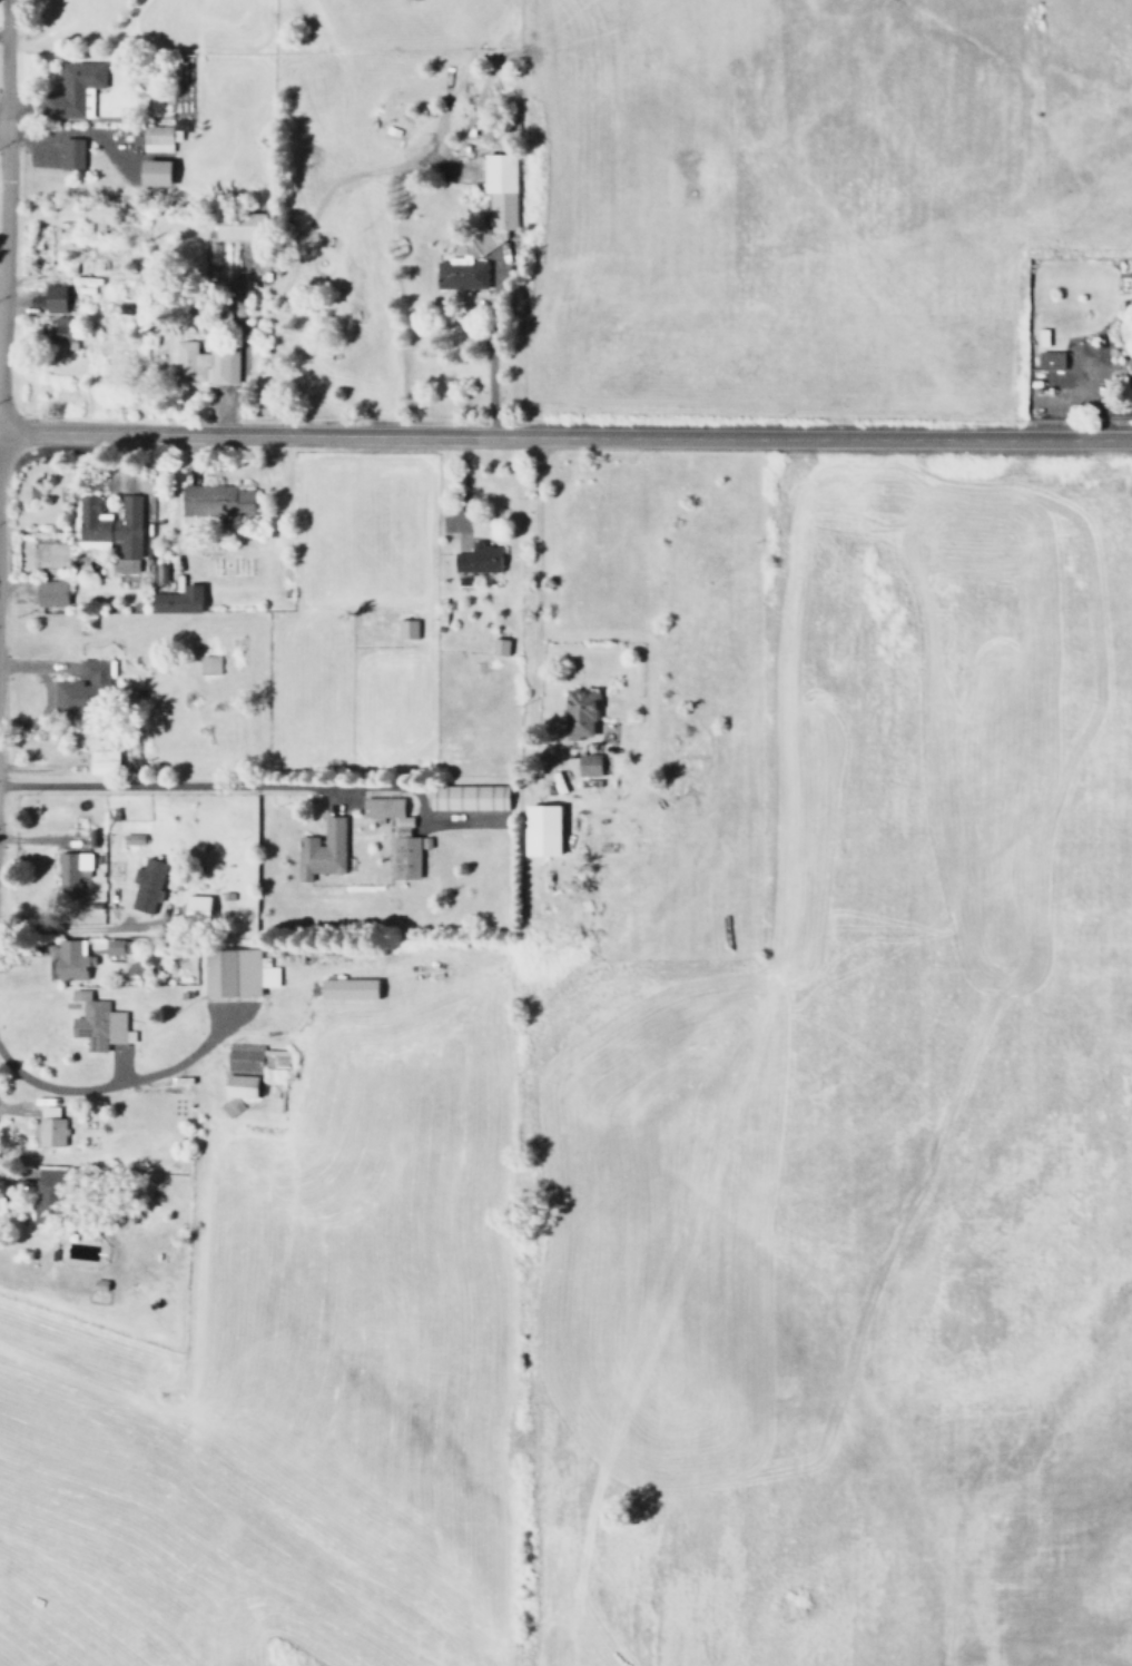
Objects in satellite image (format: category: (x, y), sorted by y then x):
road: (6, 70)
building: (73, 90)
building: (159, 138)
road: (2, 140)
building: (70, 154)
building: (151, 172)
building: (499, 189)
building: (237, 226)
road: (6, 275)
building: (459, 276)
building: (85, 284)
building: (49, 299)
building: (62, 332)
building: (1049, 361)
building: (205, 364)
building: (1128, 364)
road: (565, 434)
building: (214, 500)
building: (110, 530)
building: (478, 559)
building: (49, 593)
building: (176, 601)
building: (404, 629)
building: (498, 647)
building: (207, 664)
building: (82, 690)
building: (577, 713)
building: (101, 762)
building: (587, 766)
building: (469, 798)
building: (539, 830)
building: (396, 836)
building: (130, 839)
building: (321, 850)
building: (145, 885)
building: (194, 910)
building: (116, 947)
building: (69, 959)
building: (235, 973)
building: (346, 989)
building: (96, 1024)
road: (132, 1083)
road: (21, 1084)
building: (240, 1086)
building: (229, 1107)
building: (48, 1127)
building: (47, 1195)
airport: (283, 1656)

